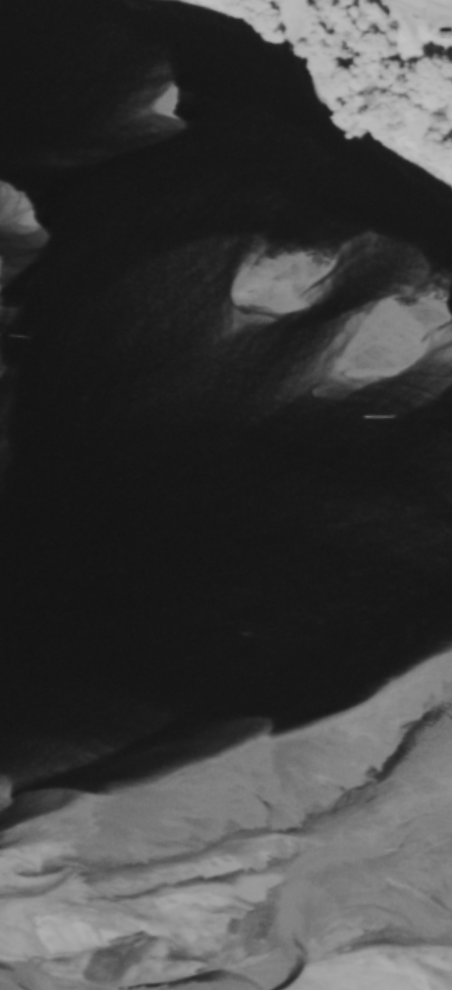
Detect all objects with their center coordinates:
road: (432, 9)
river: (231, 712)

